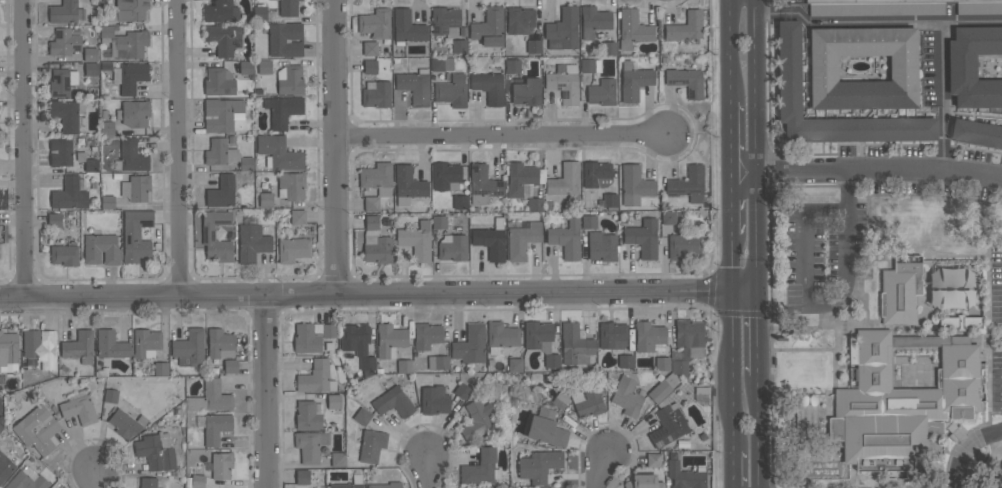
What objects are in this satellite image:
building: (889, 6)
building: (288, 7)
road: (757, 7)
building: (935, 7)
building: (129, 9)
building: (221, 11)
building: (65, 12)
building: (259, 13)
road: (769, 13)
road: (786, 13)
road: (801, 15)
building: (519, 20)
building: (445, 21)
building: (593, 21)
road: (874, 21)
building: (376, 23)
building: (407, 27)
building: (489, 27)
building: (685, 27)
building: (633, 29)
building: (562, 30)
road: (939, 31)
building: (223, 38)
building: (286, 39)
building: (64, 42)
building: (124, 42)
building: (458, 46)
building: (534, 46)
building: (370, 48)
building: (609, 48)
road: (732, 51)
building: (90, 54)
building: (441, 64)
building: (106, 65)
building: (589, 65)
building: (512, 66)
building: (973, 66)
building: (246, 67)
building: (264, 67)
building: (370, 67)
building: (91, 68)
building: (823, 68)
building: (788, 69)
building: (130, 76)
building: (289, 79)
building: (62, 81)
building: (633, 81)
building: (686, 81)
building: (218, 82)
building: (564, 83)
building: (414, 86)
building: (489, 87)
building: (452, 91)
building: (527, 92)
building: (602, 92)
building: (376, 94)
building: (282, 110)
building: (134, 113)
building: (67, 114)
building: (221, 114)
building: (106, 128)
building: (976, 133)
road: (702, 134)
road: (505, 136)
road: (733, 138)
road: (943, 138)
building: (231, 140)
road: (339, 145)
road: (27, 147)
road: (180, 148)
building: (60, 152)
building: (220, 152)
building: (279, 153)
road: (759, 155)
building: (131, 157)
building: (87, 162)
building: (246, 164)
road: (838, 172)
road: (973, 174)
building: (596, 175)
building: (445, 176)
building: (377, 178)
building: (520, 178)
building: (565, 180)
building: (483, 184)
building: (687, 184)
building: (408, 185)
building: (635, 185)
building: (291, 186)
building: (136, 187)
road: (734, 188)
road: (847, 191)
building: (222, 192)
building: (70, 193)
building: (265, 199)
building: (107, 201)
building: (610, 201)
building: (460, 202)
building: (371, 203)
building: (535, 204)
building: (298, 216)
building: (668, 217)
road: (734, 219)
building: (54, 220)
building: (589, 221)
building: (439, 222)
building: (208, 233)
building: (144, 234)
building: (135, 235)
building: (643, 237)
building: (566, 239)
building: (251, 240)
building: (416, 240)
building: (491, 240)
building: (522, 240)
building: (375, 243)
building: (683, 245)
building: (602, 246)
building: (452, 247)
building: (101, 249)
building: (292, 250)
building: (64, 255)
road: (734, 265)
building: (948, 286)
road: (366, 291)
building: (901, 291)
road: (747, 296)
road: (806, 298)
building: (968, 322)
building: (427, 335)
building: (612, 335)
road: (761, 335)
building: (312, 336)
building: (501, 336)
building: (538, 336)
building: (648, 336)
building: (355, 338)
building: (689, 338)
building: (390, 340)
building: (146, 343)
building: (220, 343)
building: (111, 345)
building: (470, 345)
building: (575, 345)
building: (79, 347)
building: (39, 348)
building: (189, 348)
building: (8, 352)
building: (551, 360)
building: (624, 361)
building: (437, 362)
building: (662, 363)
building: (366, 365)
building: (515, 365)
building: (230, 366)
building: (404, 366)
building: (679, 367)
building: (161, 368)
road: (734, 372)
building: (316, 378)
building: (663, 388)
road: (269, 390)
building: (462, 390)
building: (111, 395)
building: (627, 397)
building: (210, 398)
building: (393, 400)
building: (434, 400)
building: (560, 400)
building: (334, 402)
building: (588, 402)
building: (904, 402)
building: (78, 407)
building: (307, 415)
building: (362, 416)
building: (477, 419)
building: (1, 422)
building: (126, 423)
building: (668, 423)
building: (215, 428)
building: (546, 428)
building: (37, 430)
road: (761, 431)
building: (310, 445)
building: (371, 445)
road: (965, 448)
building: (156, 451)
building: (338, 459)
building: (653, 460)
building: (222, 465)
building: (539, 465)
building: (5, 467)
building: (481, 468)
road: (734, 468)
road: (603, 473)
road: (429, 475)
building: (685, 476)
building: (302, 477)
building: (27, 481)
road: (95, 481)
building: (198, 481)
building: (644, 481)
building: (148, 482)
building: (344, 485)
building: (385, 485)

